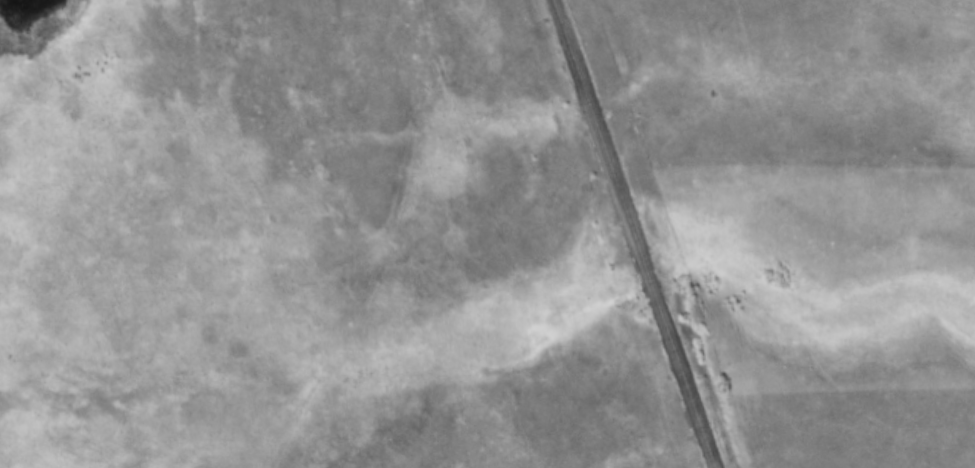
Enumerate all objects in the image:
railway: (623, 235)

